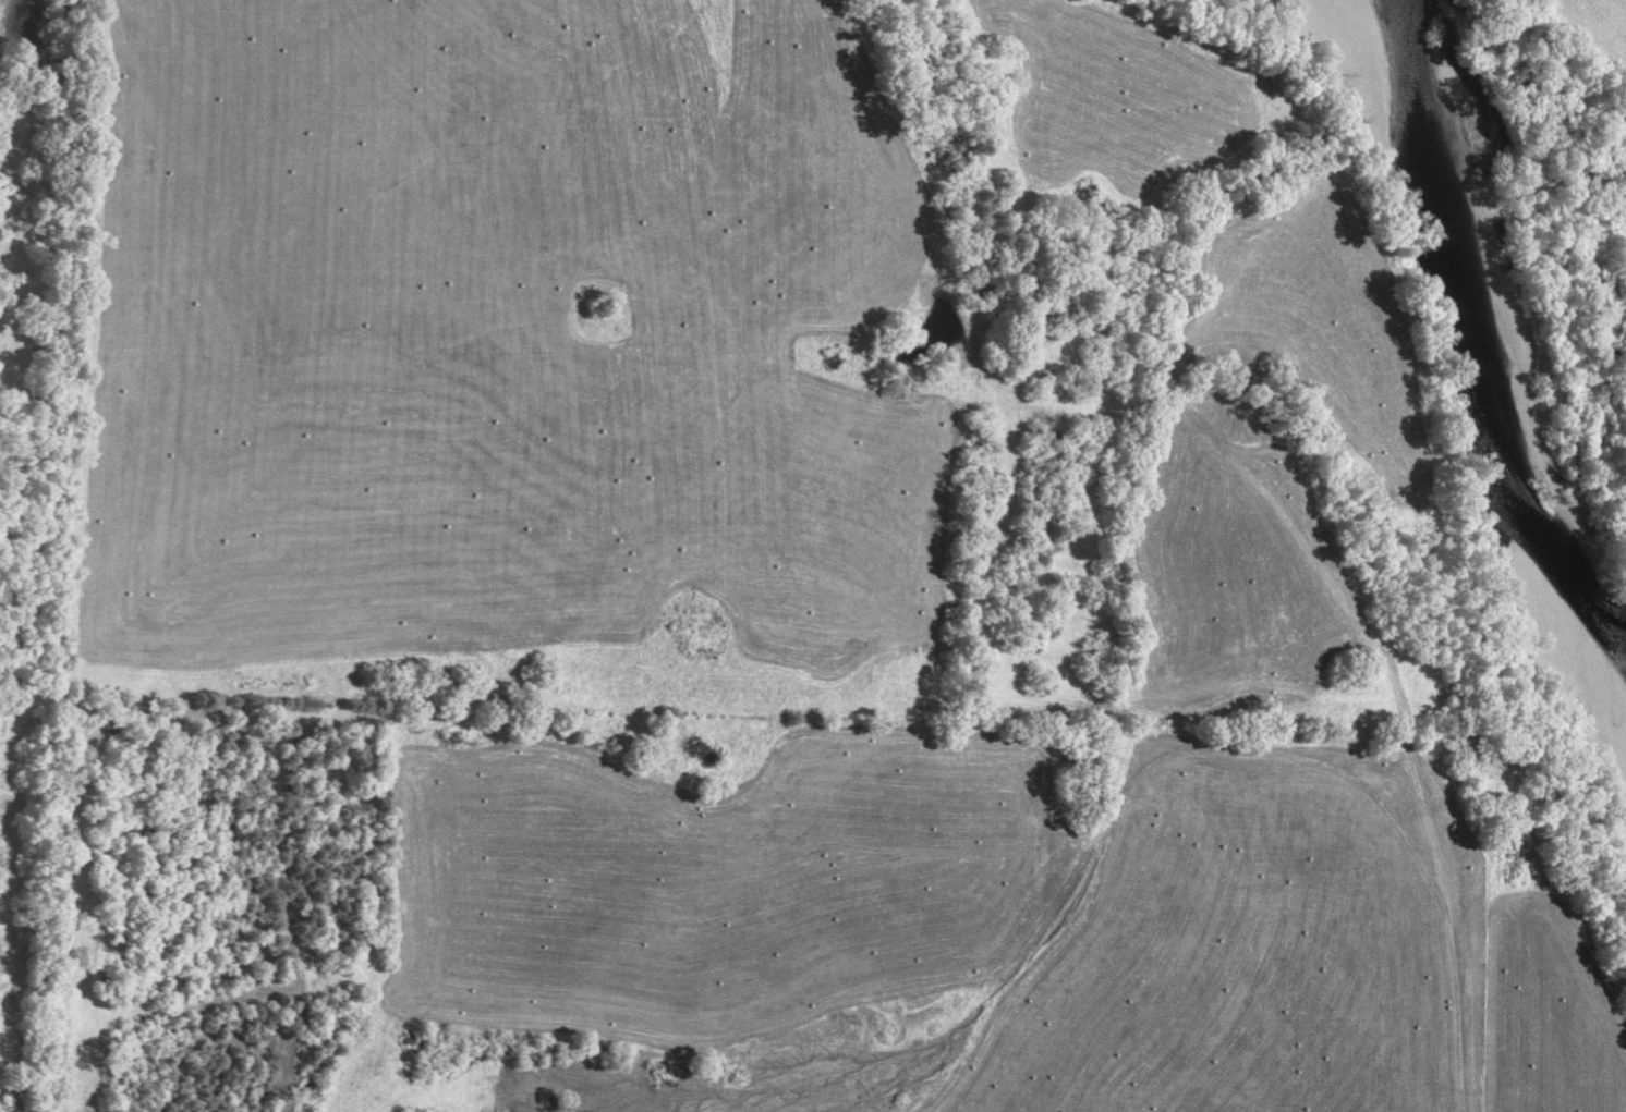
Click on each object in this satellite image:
river: (1477, 364)

